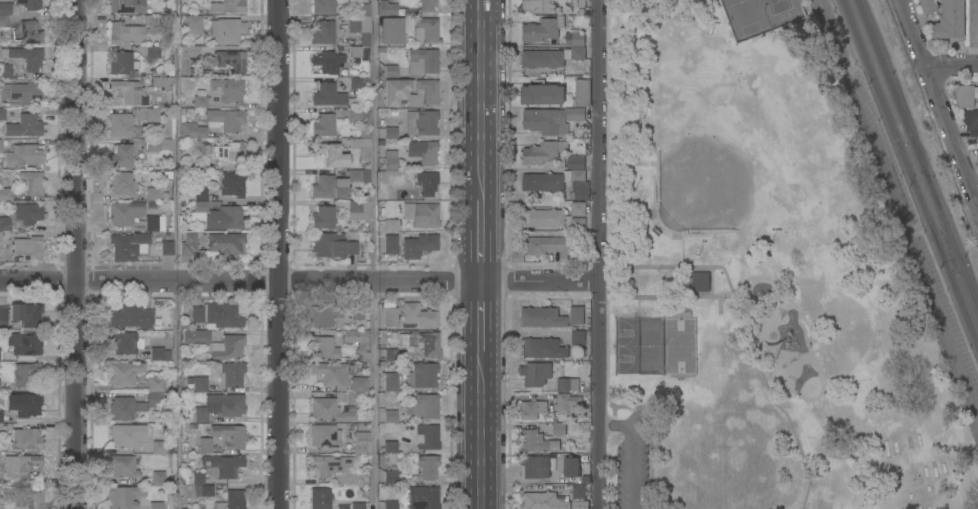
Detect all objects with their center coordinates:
building: (354, 1)
building: (29, 4)
building: (426, 5)
building: (126, 6)
building: (226, 6)
building: (322, 6)
building: (539, 6)
building: (577, 6)
building: (928, 6)
building: (385, 8)
building: (4, 12)
building: (157, 19)
building: (950, 20)
building: (193, 23)
building: (354, 24)
building: (543, 29)
building: (225, 30)
building: (426, 30)
building: (390, 31)
building: (26, 32)
building: (322, 32)
building: (123, 33)
building: (564, 35)
building: (568, 36)
building: (576, 38)
building: (360, 45)
building: (152, 51)
building: (23, 57)
building: (187, 57)
building: (551, 57)
building: (231, 60)
building: (327, 61)
building: (422, 61)
building: (121, 63)
road: (952, 64)
building: (5, 71)
building: (390, 71)
building: (162, 82)
building: (355, 83)
building: (226, 89)
building: (127, 91)
building: (23, 92)
building: (395, 92)
building: (582, 93)
building: (541, 94)
building: (330, 96)
building: (966, 96)
building: (199, 98)
road: (480, 99)
road: (939, 100)
building: (2, 113)
building: (355, 113)
building: (151, 114)
building: (574, 114)
building: (541, 121)
building: (421, 122)
building: (971, 122)
building: (213, 123)
building: (23, 125)
building: (122, 125)
building: (323, 125)
building: (390, 132)
building: (151, 144)
building: (361, 144)
building: (0, 145)
building: (229, 151)
building: (422, 151)
building: (545, 152)
building: (21, 155)
building: (120, 155)
building: (330, 155)
railway: (916, 155)
building: (390, 161)
building: (575, 162)
building: (201, 163)
building: (561, 163)
railway: (909, 174)
building: (358, 176)
building: (30, 182)
building: (120, 182)
building: (426, 182)
building: (558, 183)
building: (232, 184)
building: (329, 187)
building: (152, 193)
building: (200, 193)
building: (6, 194)
building: (390, 194)
building: (358, 207)
building: (578, 209)
building: (199, 210)
road: (899, 210)
building: (124, 212)
building: (21, 215)
building: (425, 215)
building: (223, 218)
building: (323, 218)
building: (551, 219)
railway: (938, 220)
building: (154, 223)
railway: (931, 223)
building: (390, 225)
road: (479, 239)
building: (187, 244)
building: (327, 244)
building: (390, 244)
building: (126, 245)
building: (419, 245)
building: (548, 245)
building: (224, 246)
building: (27, 247)
building: (166, 247)
building: (351, 247)
parking lot: (918, 249)
road: (78, 254)
road: (180, 254)
road: (279, 254)
road: (374, 254)
road: (600, 254)
park: (772, 276)
road: (300, 281)
building: (701, 282)
railway: (965, 300)
building: (357, 313)
building: (25, 314)
building: (197, 314)
building: (323, 314)
building: (221, 315)
building: (418, 315)
road: (479, 315)
building: (3, 316)
building: (131, 316)
building: (390, 317)
building: (551, 317)
building: (193, 335)
building: (578, 338)
building: (125, 342)
building: (358, 342)
building: (421, 342)
building: (24, 343)
building: (227, 347)
building: (323, 347)
building: (542, 348)
building: (159, 353)
building: (390, 354)
building: (125, 372)
building: (25, 373)
building: (331, 373)
building: (230, 374)
building: (424, 374)
building: (534, 374)
building: (577, 380)
building: (390, 381)
building: (198, 383)
building: (357, 389)
building: (122, 398)
building: (565, 403)
building: (22, 404)
building: (220, 406)
building: (423, 406)
building: (531, 409)
building: (328, 410)
building: (1, 416)
building: (390, 416)
road: (480, 429)
building: (559, 429)
building: (229, 435)
building: (324, 435)
building: (123, 436)
building: (427, 437)
building: (25, 439)
building: (532, 441)
building: (361, 443)
building: (205, 445)
building: (390, 446)
building: (158, 447)
road: (635, 450)
parking lot: (630, 457)
building: (328, 464)
building: (21, 465)
building: (122, 465)
building: (223, 465)
building: (427, 466)
building: (534, 466)
building: (571, 467)
building: (157, 476)
building: (358, 477)
building: (390, 477)
building: (194, 478)
building: (203, 490)
building: (578, 492)
building: (22, 496)
building: (125, 496)
building: (422, 497)
building: (320, 498)
building: (232, 500)
building: (543, 500)
building: (390, 504)
building: (155, 505)
building: (357, 505)
building: (580, 505)
building: (2, 507)

